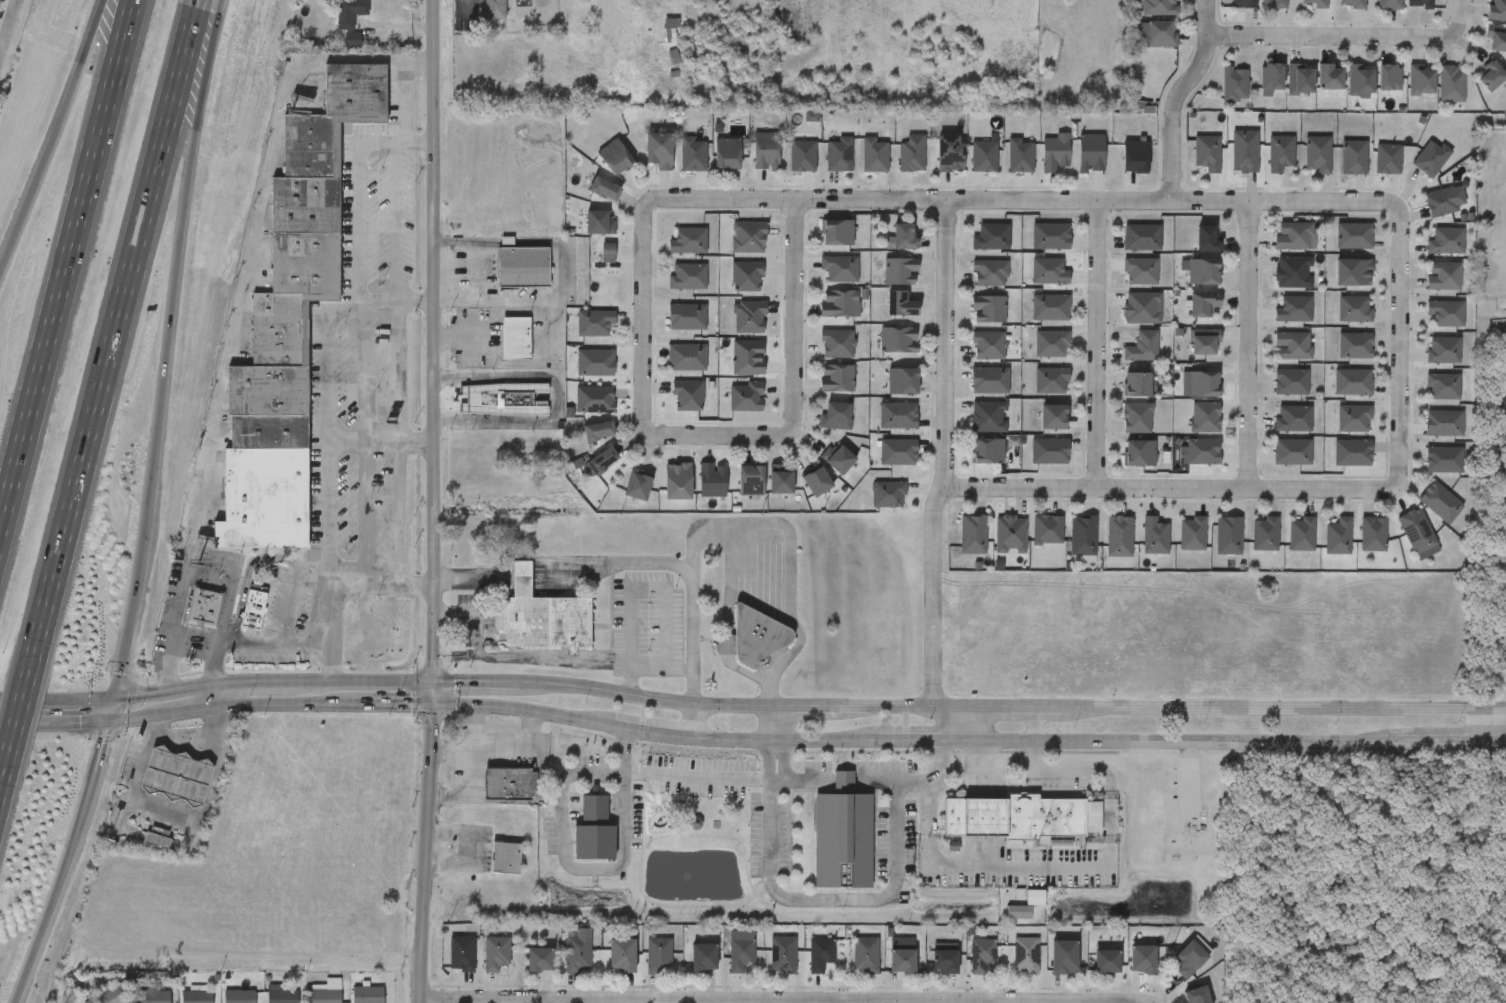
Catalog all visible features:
building: (1314, 3)
building: (1351, 3)
building: (1419, 3)
building: (1244, 4)
building: (1273, 4)
building: (1389, 4)
building: (1159, 7)
building: (491, 10)
building: (1496, 10)
building: (347, 13)
road: (1457, 17)
road: (9, 31)
building: (670, 31)
building: (1161, 34)
road: (1329, 35)
building: (1496, 38)
road: (3, 40)
building: (353, 40)
building: (1272, 76)
building: (1330, 76)
building: (1492, 76)
building: (1389, 77)
building: (1300, 79)
building: (1360, 80)
building: (1421, 80)
building: (1451, 83)
building: (1234, 84)
road: (1178, 97)
road: (405, 101)
building: (333, 118)
road: (52, 131)
building: (659, 151)
building: (765, 151)
building: (1246, 151)
building: (1091, 152)
building: (911, 153)
building: (1054, 153)
building: (1207, 153)
building: (1279, 153)
building: (692, 154)
building: (727, 154)
building: (838, 154)
building: (949, 154)
building: (1317, 154)
building: (874, 155)
building: (802, 156)
building: (984, 156)
building: (1020, 156)
building: (1135, 156)
building: (614, 157)
building: (1353, 157)
building: (1432, 158)
building: (1389, 159)
building: (604, 190)
road: (1024, 201)
building: (1445, 201)
building: (305, 203)
building: (601, 223)
building: (837, 233)
building: (1292, 235)
building: (905, 236)
building: (1051, 236)
building: (1355, 236)
building: (747, 237)
building: (993, 237)
building: (1143, 237)
building: (1206, 239)
road: (454, 241)
building: (690, 241)
building: (1447, 241)
road: (250, 243)
building: (608, 253)
road: (63, 265)
building: (522, 266)
building: (839, 268)
building: (900, 270)
building: (1050, 271)
building: (1140, 271)
building: (1203, 271)
road: (474, 272)
building: (1292, 272)
building: (1352, 272)
road: (569, 273)
building: (989, 273)
building: (689, 276)
building: (747, 276)
building: (1442, 277)
building: (293, 294)
road: (397, 303)
road: (455, 303)
building: (837, 303)
building: (900, 303)
building: (1203, 304)
building: (1051, 307)
building: (1141, 308)
building: (988, 309)
building: (1295, 309)
building: (1354, 309)
road: (336, 313)
building: (1447, 313)
road: (644, 316)
road: (488, 317)
building: (686, 317)
building: (750, 317)
road: (796, 318)
building: (595, 322)
road: (117, 326)
road: (1399, 337)
building: (516, 338)
road: (552, 339)
building: (898, 339)
building: (1205, 342)
building: (836, 344)
building: (1051, 344)
building: (987, 345)
building: (1292, 346)
building: (1354, 346)
road: (1097, 347)
building: (1142, 347)
road: (1250, 347)
road: (166, 349)
building: (1444, 350)
building: (688, 357)
building: (748, 357)
road: (400, 361)
building: (596, 363)
road: (508, 364)
road: (492, 375)
building: (835, 377)
building: (991, 380)
building: (1051, 380)
building: (902, 381)
building: (1292, 382)
building: (1354, 382)
building: (1137, 384)
building: (1203, 384)
building: (1444, 386)
building: (267, 389)
building: (689, 396)
building: (747, 397)
building: (504, 398)
building: (595, 400)
building: (835, 415)
building: (899, 415)
building: (988, 416)
building: (1054, 417)
building: (1136, 417)
building: (1204, 417)
building: (1354, 418)
building: (1294, 419)
road: (515, 422)
building: (1445, 423)
building: (268, 430)
building: (597, 430)
road: (716, 437)
road: (381, 442)
building: (987, 450)
building: (1050, 451)
building: (899, 452)
building: (1139, 452)
building: (1201, 452)
building: (1293, 452)
building: (1353, 453)
road: (946, 455)
building: (839, 458)
building: (602, 459)
building: (1443, 459)
building: (712, 479)
building: (677, 480)
building: (750, 480)
building: (781, 481)
building: (818, 482)
road: (1177, 493)
building: (263, 498)
building: (881, 500)
road: (434, 501)
road: (365, 509)
building: (1429, 509)
building: (1047, 529)
building: (1416, 530)
building: (1191, 533)
building: (1264, 533)
building: (973, 534)
building: (1009, 534)
building: (1300, 534)
building: (1373, 534)
building: (1082, 535)
building: (1228, 535)
building: (1119, 536)
building: (1337, 536)
building: (1031, 543)
building: (1176, 546)
building: (957, 547)
building: (994, 547)
building: (1249, 547)
building: (1285, 547)
building: (1357, 547)
building: (1402, 547)
building: (1067, 549)
building: (1103, 549)
building: (1139, 549)
building: (1213, 549)
building: (1322, 550)
road: (684, 568)
road: (204, 569)
road: (472, 575)
road: (379, 578)
road: (291, 589)
road: (647, 591)
building: (204, 607)
building: (253, 609)
building: (545, 615)
building: (238, 619)
building: (189, 621)
road: (306, 641)
road: (517, 658)
road: (328, 662)
road: (648, 667)
traffic signals: (433, 683)
road: (214, 694)
traffic signals: (111, 698)
road: (283, 702)
road: (392, 704)
traffic signals: (433, 705)
road: (187, 708)
road: (751, 708)
road: (108, 709)
road: (522, 710)
road: (22, 711)
road: (133, 716)
road: (9, 720)
road: (62, 720)
traffic signals: (106, 720)
road: (692, 722)
road: (968, 724)
road: (1033, 725)
road: (1498, 727)
road: (650, 732)
road: (922, 740)
road: (783, 742)
road: (1182, 743)
road: (1448, 743)
road: (1502, 743)
road: (497, 746)
road: (450, 749)
gas station: (176, 774)
road: (681, 777)
road: (774, 780)
road: (874, 780)
road: (806, 781)
road: (842, 781)
road: (4, 782)
building: (507, 783)
building: (165, 787)
road: (469, 790)
building: (493, 797)
road: (179, 809)
building: (1021, 816)
building: (592, 826)
building: (842, 835)
building: (579, 843)
road: (466, 848)
building: (505, 857)
road: (566, 857)
road: (64, 863)
building: (482, 869)
road: (1052, 872)
road: (855, 899)
building: (1019, 910)
building: (1002, 924)
building: (740, 950)
building: (496, 953)
building: (657, 953)
building: (461, 954)
building: (577, 954)
building: (819, 954)
building: (980, 954)
building: (621, 955)
building: (782, 955)
building: (865, 955)
building: (1025, 955)
building: (1063, 956)
building: (703, 957)
building: (1191, 957)
building: (1142, 958)
building: (1106, 959)
building: (539, 960)
building: (902, 960)
building: (944, 961)
building: (725, 962)
building: (563, 963)
building: (481, 965)
building: (446, 966)
building: (643, 966)
building: (607, 967)
building: (767, 967)
building: (805, 967)
building: (850, 967)
building: (966, 967)
building: (887, 968)
building: (1010, 968)
building: (1048, 969)
building: (1176, 969)
building: (687, 970)
building: (929, 970)
building: (524, 972)
building: (1091, 972)
building: (1127, 972)
building: (327, 992)
building: (367, 995)
building: (1197, 995)
building: (239, 996)
building: (282, 996)
building: (153, 997)
building: (197, 997)
building: (102, 1000)
building: (260, 1000)
building: (1184, 1001)
building: (124, 1002)
road: (788, 1002)
road: (1155, 1002)

